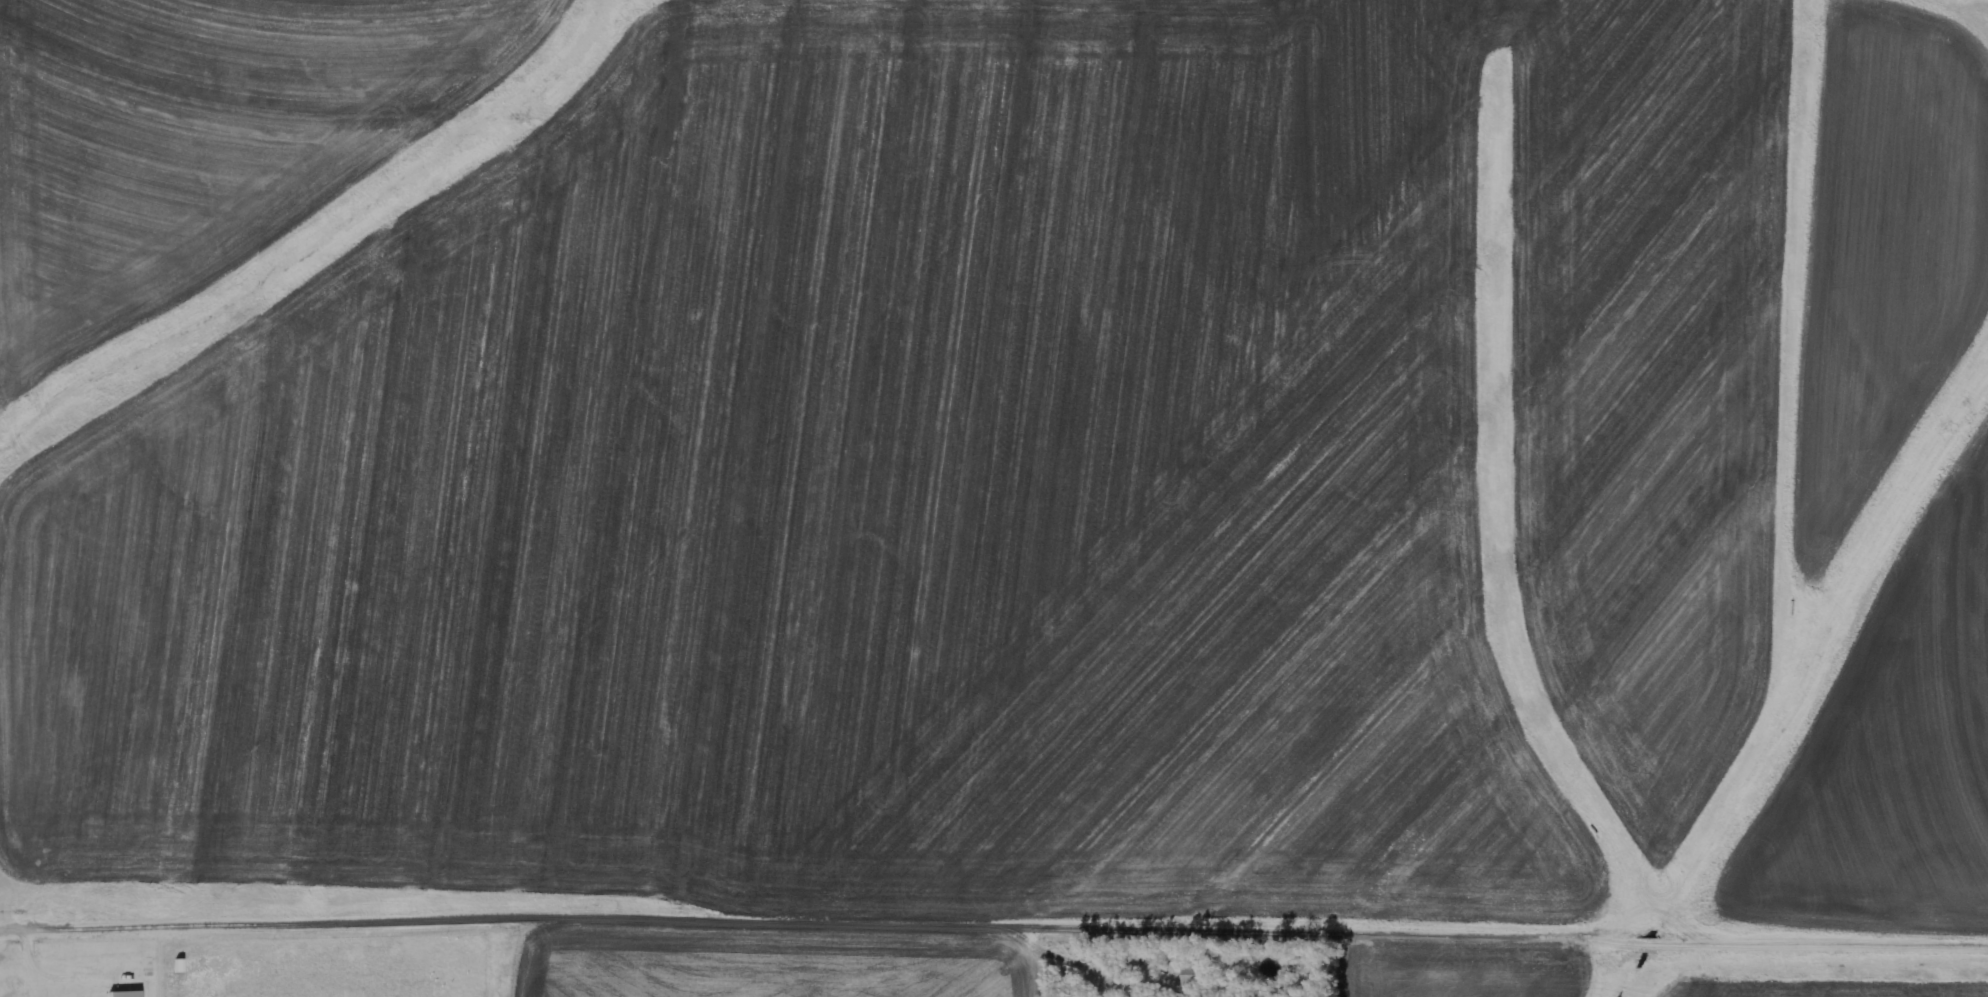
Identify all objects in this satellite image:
road: (993, 928)
road: (493, 958)

